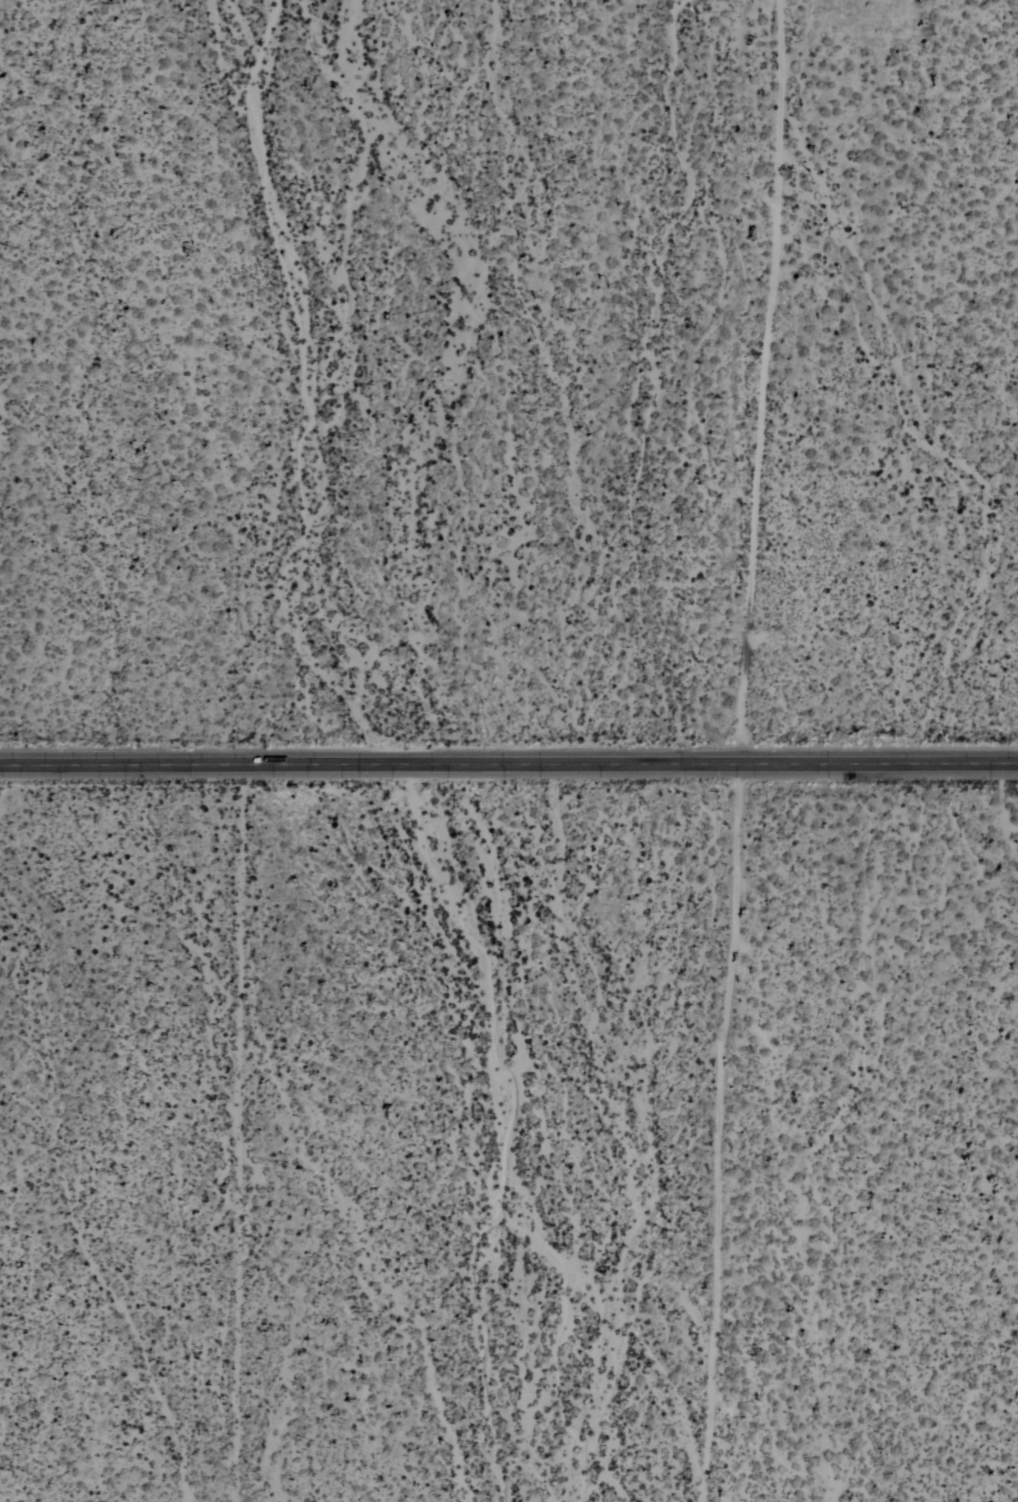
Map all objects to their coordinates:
road: (710, 762)
road: (191, 763)
road: (393, 763)

